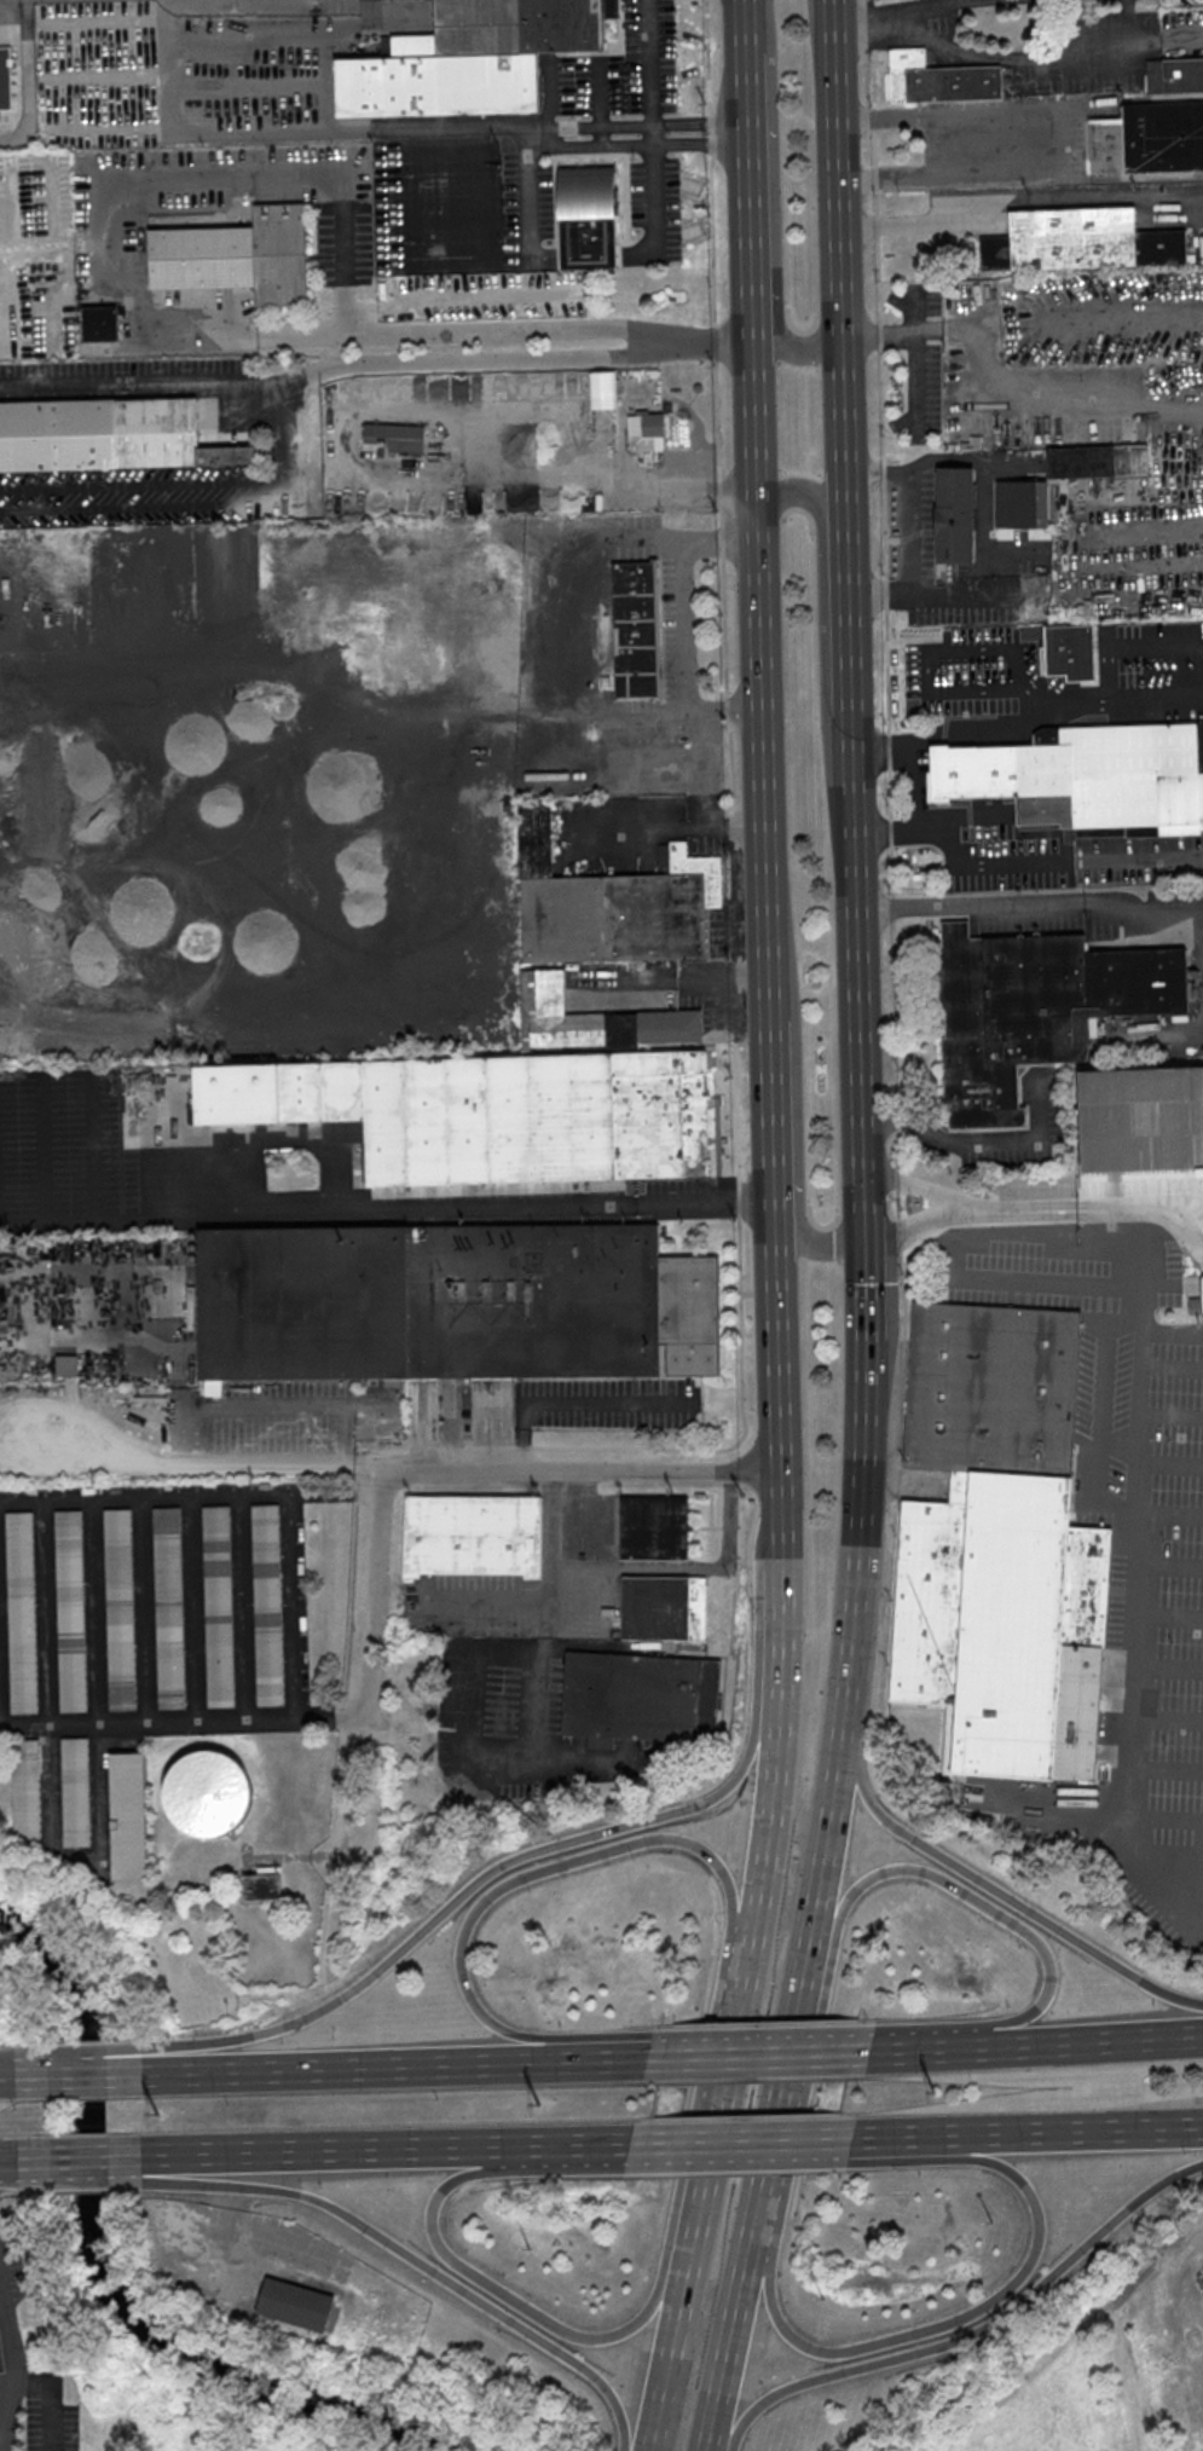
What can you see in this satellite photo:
road: (923, 8)
road: (869, 24)
road: (863, 25)
road: (745, 27)
road: (290, 41)
road: (706, 57)
building: (472, 58)
road: (1041, 59)
road: (647, 62)
building: (1173, 73)
building: (6, 77)
road: (864, 79)
building: (939, 79)
road: (866, 118)
road: (699, 122)
road: (582, 125)
road: (449, 128)
road: (212, 132)
road: (711, 135)
building: (1149, 137)
road: (1051, 139)
road: (629, 145)
road: (873, 146)
road: (874, 178)
road: (650, 184)
road: (750, 193)
road: (875, 201)
road: (771, 208)
building: (588, 218)
road: (105, 219)
road: (875, 225)
road: (918, 226)
road: (711, 239)
building: (1076, 239)
road: (52, 244)
road: (839, 247)
building: (233, 254)
road: (877, 278)
building: (103, 323)
road: (892, 330)
road: (507, 334)
road: (878, 336)
road: (713, 341)
road: (915, 357)
road: (462, 359)
road: (143, 383)
road: (1033, 405)
road: (879, 407)
road: (716, 417)
building: (646, 429)
building: (108, 434)
building: (394, 435)
road: (913, 469)
road: (372, 470)
road: (878, 470)
road: (881, 472)
road: (717, 493)
building: (1022, 503)
road: (207, 507)
building: (954, 514)
road: (718, 519)
road: (883, 530)
road: (989, 530)
road: (648, 541)
road: (719, 541)
road: (1126, 579)
road: (679, 590)
road: (884, 594)
road: (948, 595)
road: (846, 597)
road: (821, 622)
road: (722, 626)
building: (636, 628)
road: (1126, 629)
building: (1016, 652)
building: (421, 669)
road: (886, 669)
road: (760, 677)
road: (1025, 686)
road: (1157, 703)
road: (1089, 705)
road: (725, 709)
road: (861, 716)
road: (412, 721)
road: (993, 730)
road: (878, 732)
road: (887, 750)
road: (880, 756)
road: (730, 764)
building: (1086, 776)
road: (914, 781)
road: (887, 796)
road: (665, 826)
road: (734, 826)
road: (900, 828)
road: (889, 832)
road: (1140, 856)
road: (961, 865)
road: (889, 871)
road: (1029, 900)
road: (352, 901)
road: (736, 902)
building: (611, 903)
road: (890, 908)
road: (502, 923)
road: (738, 972)
building: (1035, 1008)
road: (893, 1016)
building: (595, 1019)
road: (1159, 1031)
road: (735, 1081)
building: (482, 1111)
building: (1141, 1117)
road: (896, 1121)
road: (793, 1125)
road: (775, 1127)
road: (978, 1139)
road: (896, 1150)
road: (896, 1179)
road: (904, 1184)
road: (738, 1198)
road: (1149, 1202)
road: (896, 1203)
road: (497, 1208)
road: (861, 1209)
road: (1013, 1209)
road: (909, 1222)
traffic signals: (863, 1233)
road: (897, 1233)
road: (902, 1293)
building: (453, 1302)
building: (1197, 1305)
road: (573, 1403)
road: (780, 1418)
road: (179, 1427)
road: (741, 1434)
road: (467, 1450)
road: (380, 1456)
road: (259, 1459)
road: (457, 1468)
road: (191, 1497)
road: (1130, 1511)
building: (653, 1526)
building: (473, 1534)
building: (996, 1545)
road: (555, 1595)
building: (264, 1605)
building: (215, 1606)
building: (664, 1606)
building: (166, 1607)
building: (116, 1608)
building: (68, 1609)
building: (18, 1611)
road: (764, 1670)
road: (531, 1681)
building: (640, 1696)
road: (464, 1711)
road: (183, 1723)
road: (770, 1785)
building: (23, 1790)
building: (71, 1791)
water tower: (204, 1791)
building: (204, 1792)
storage tank: (204, 1792)
building: (125, 1815)
road: (1162, 1822)
road: (822, 1854)
road: (1162, 1856)
road: (508, 1879)
building: (262, 1888)
road: (991, 1890)
road: (450, 1902)
road: (1034, 1941)
road: (821, 1955)
road: (1100, 2037)
road: (932, 2047)
road: (759, 2053)
road: (74, 2054)
road: (754, 2054)
road: (391, 2065)
road: (75, 2070)
road: (5, 2073)
power tower: (935, 2091)
power tower: (540, 2103)
road: (775, 2112)
power tower: (158, 2114)
road: (718, 2114)
road: (1143, 2115)
road: (1085, 2131)
road: (907, 2139)
road: (792, 2143)
road: (682, 2145)
road: (381, 2149)
road: (75, 2155)
road: (679, 2156)
road: (6, 2157)
road: (7, 2178)
road: (76, 2181)
road: (216, 2237)
road: (438, 2249)
road: (416, 2262)
river: (100, 2271)
road: (673, 2283)
road: (987, 2300)
building: (293, 2305)
road: (4, 2311)
road: (999, 2316)
park: (1151, 2330)
road: (731, 2342)
road: (17, 2354)
road: (672, 2355)
building: (0, 2365)
parking lot: (34, 2414)
road: (739, 2423)

